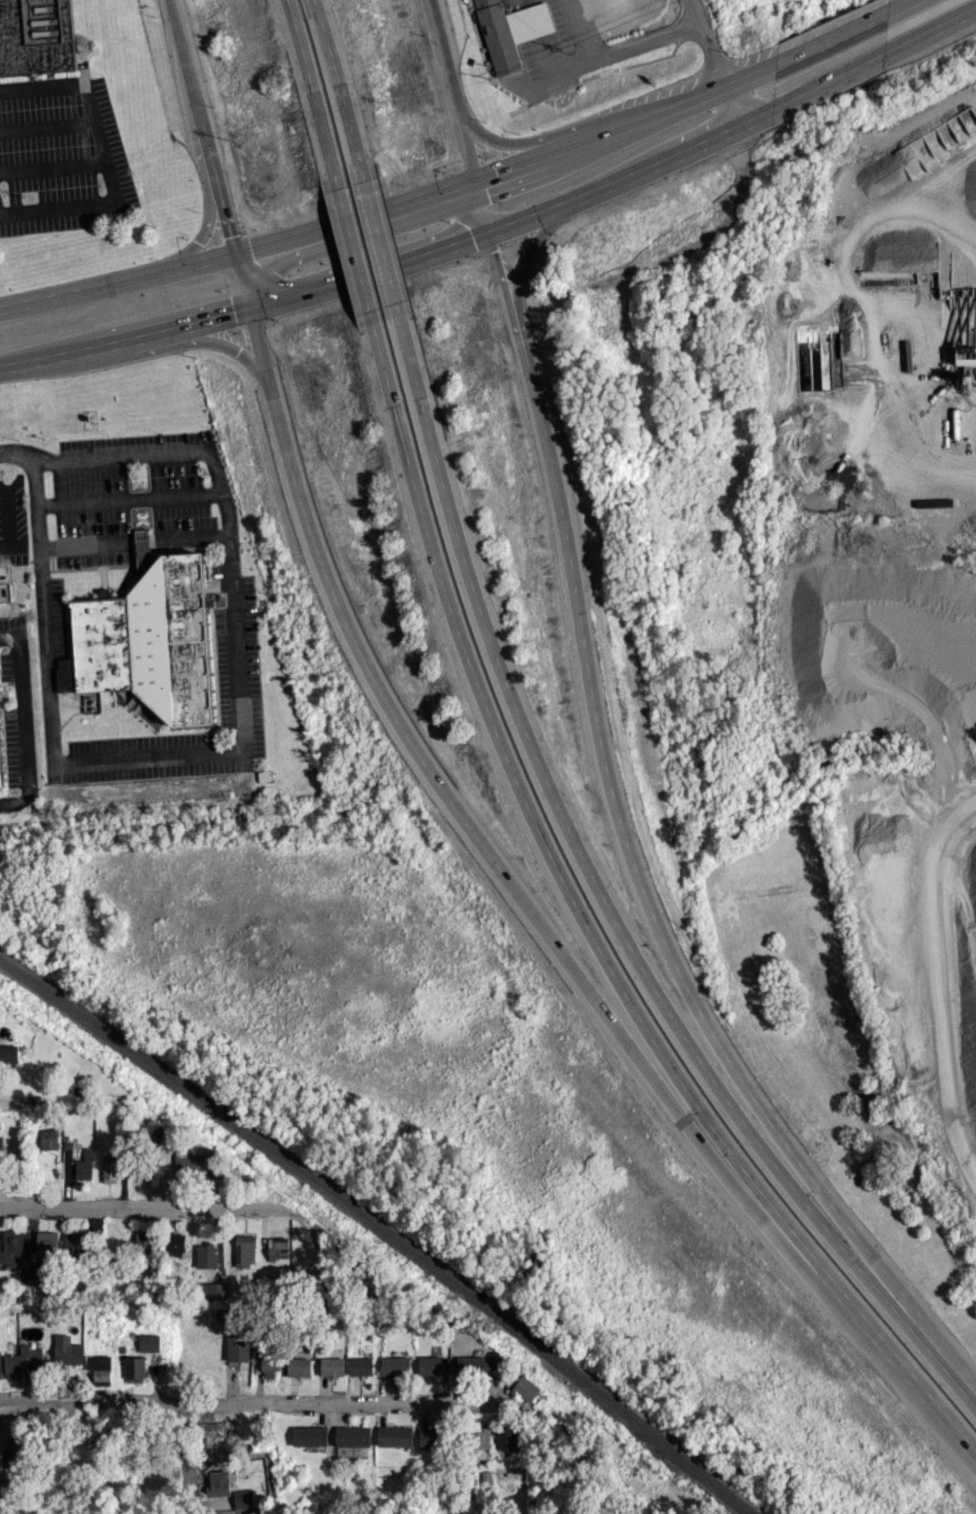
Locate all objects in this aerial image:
road: (893, 6)
building: (0, 20)
road: (926, 32)
building: (498, 36)
building: (40, 37)
road: (824, 37)
road: (712, 40)
road: (622, 49)
road: (446, 56)
road: (822, 83)
road: (339, 89)
road: (704, 92)
road: (313, 94)
road: (735, 102)
road: (754, 116)
road: (49, 126)
road: (547, 136)
road: (109, 157)
road: (212, 158)
road: (55, 167)
traffic signals: (482, 183)
road: (481, 186)
road: (518, 216)
road: (212, 219)
traffic signals: (491, 227)
road: (325, 231)
road: (708, 235)
road: (379, 241)
road: (528, 247)
road: (352, 248)
traffic signals: (239, 255)
traffic signals: (251, 301)
road: (145, 327)
road: (169, 341)
road: (16, 452)
road: (129, 496)
road: (7, 513)
road: (134, 540)
road: (19, 544)
building: (145, 552)
quarry: (891, 579)
building: (151, 641)
road: (23, 723)
building: (2, 741)
road: (232, 748)
road: (472, 823)
road: (616, 826)
road: (602, 898)
road: (580, 927)
building: (8, 1054)
building: (161, 1134)
building: (49, 1138)
building: (1, 1142)
building: (85, 1164)
building: (195, 1165)
building: (110, 1167)
road: (134, 1204)
railway: (381, 1226)
building: (75, 1242)
building: (144, 1242)
building: (175, 1243)
building: (47, 1244)
building: (278, 1246)
building: (12, 1247)
building: (245, 1249)
building: (206, 1254)
building: (29, 1276)
building: (211, 1290)
road: (43, 1303)
building: (221, 1313)
building: (149, 1341)
building: (238, 1346)
building: (67, 1349)
building: (23, 1360)
building: (0, 1364)
building: (395, 1364)
building: (434, 1364)
building: (475, 1364)
building: (270, 1365)
building: (361, 1365)
building: (299, 1366)
building: (332, 1366)
building: (100, 1368)
building: (135, 1368)
building: (526, 1387)
road: (250, 1402)
building: (213, 1428)
building: (310, 1434)
building: (352, 1435)
building: (394, 1435)
building: (505, 1436)
building: (429, 1437)
building: (481, 1438)
building: (17, 1450)
road: (187, 1458)
building: (222, 1486)
building: (0, 1490)
building: (244, 1498)

